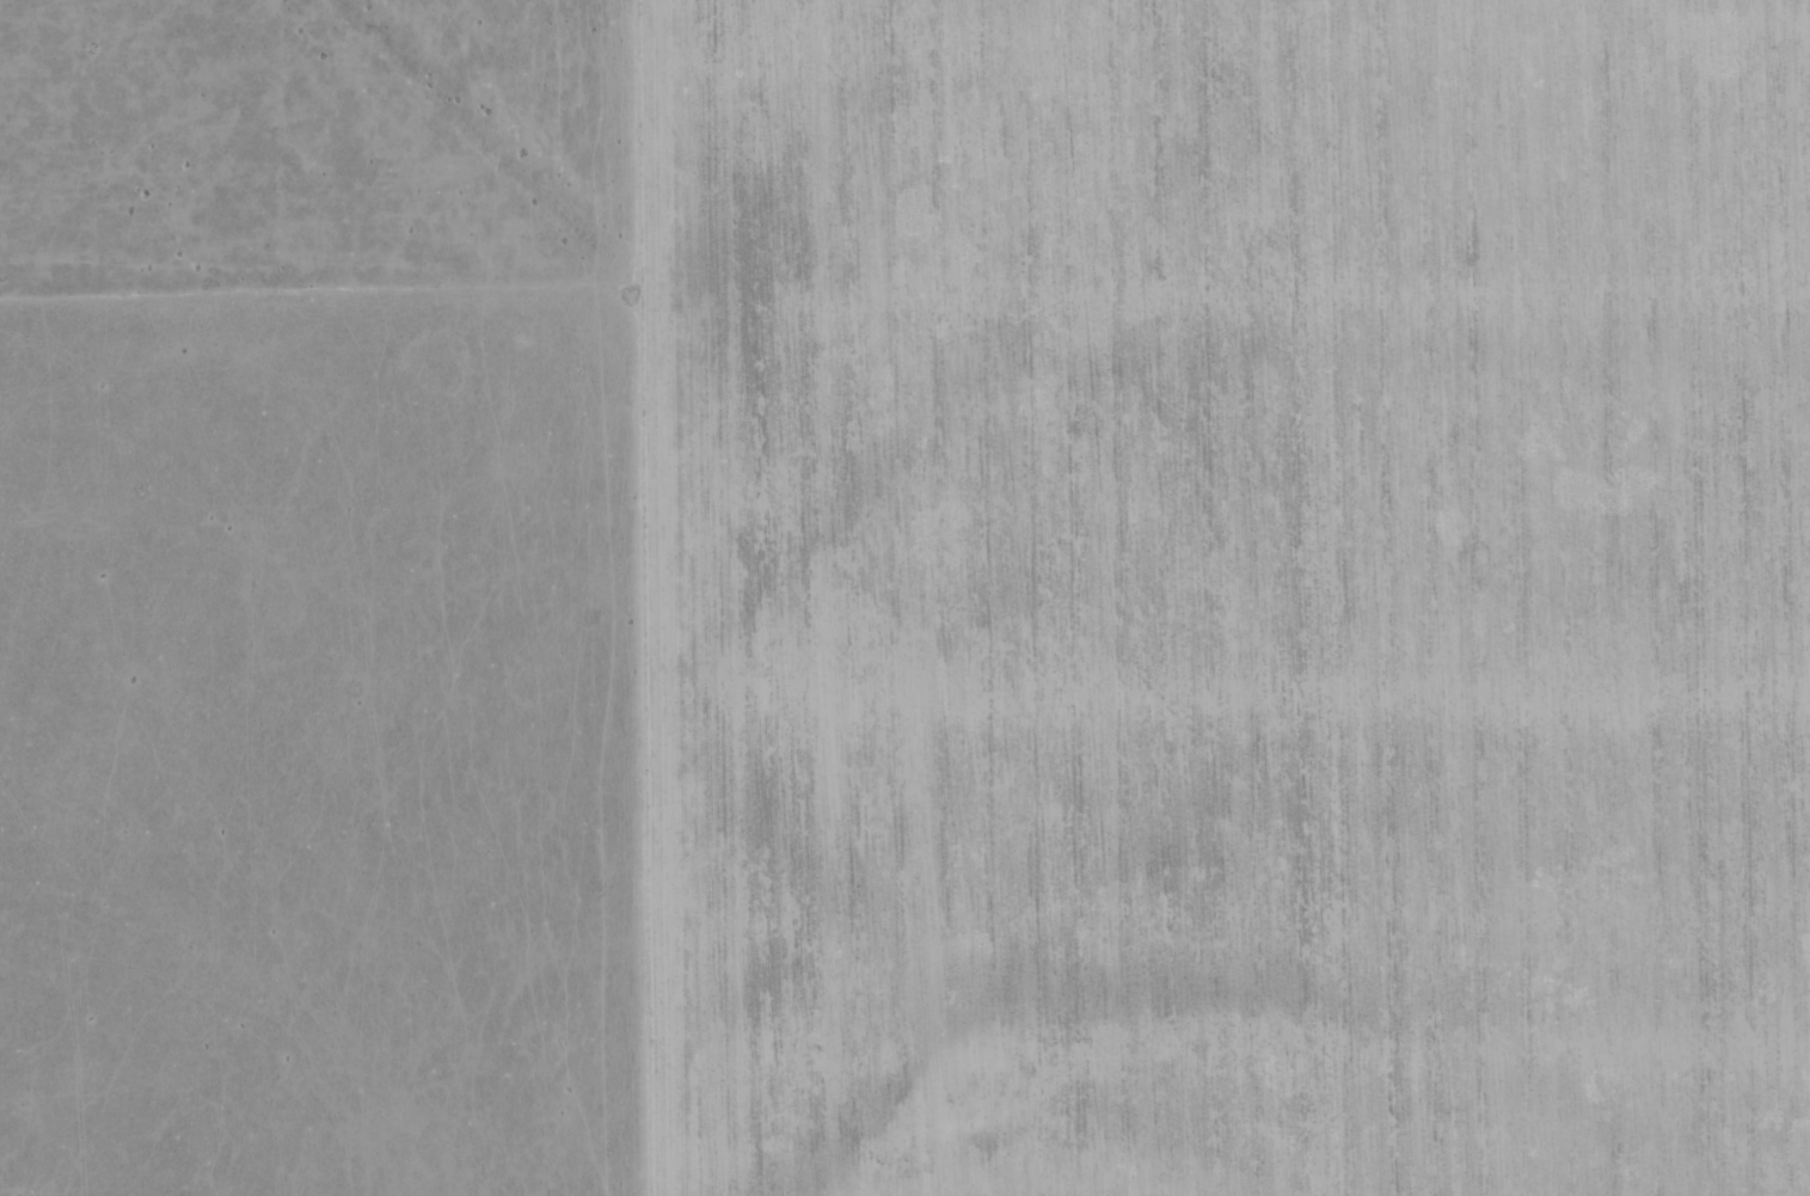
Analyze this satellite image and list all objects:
road: (471, 661)

